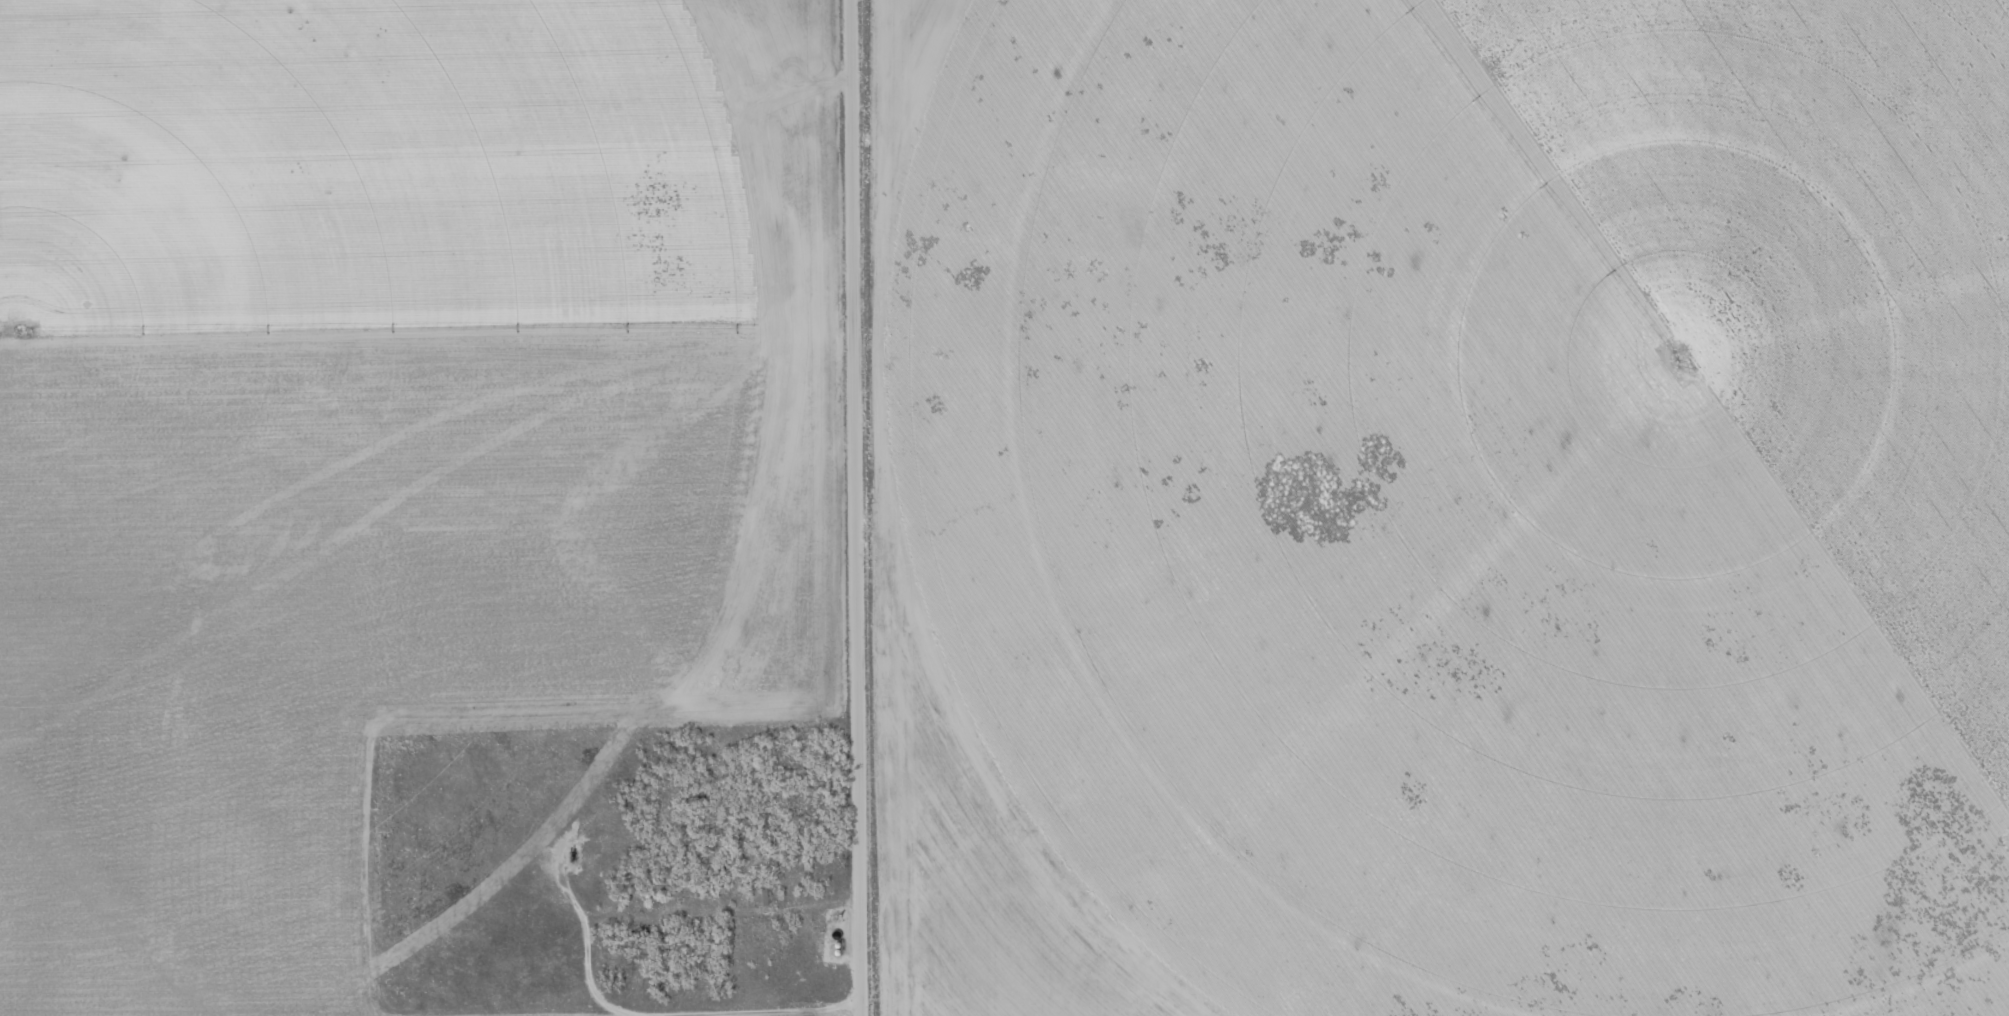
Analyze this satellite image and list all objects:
road: (851, 507)
road: (1668, 507)
road: (600, 907)

